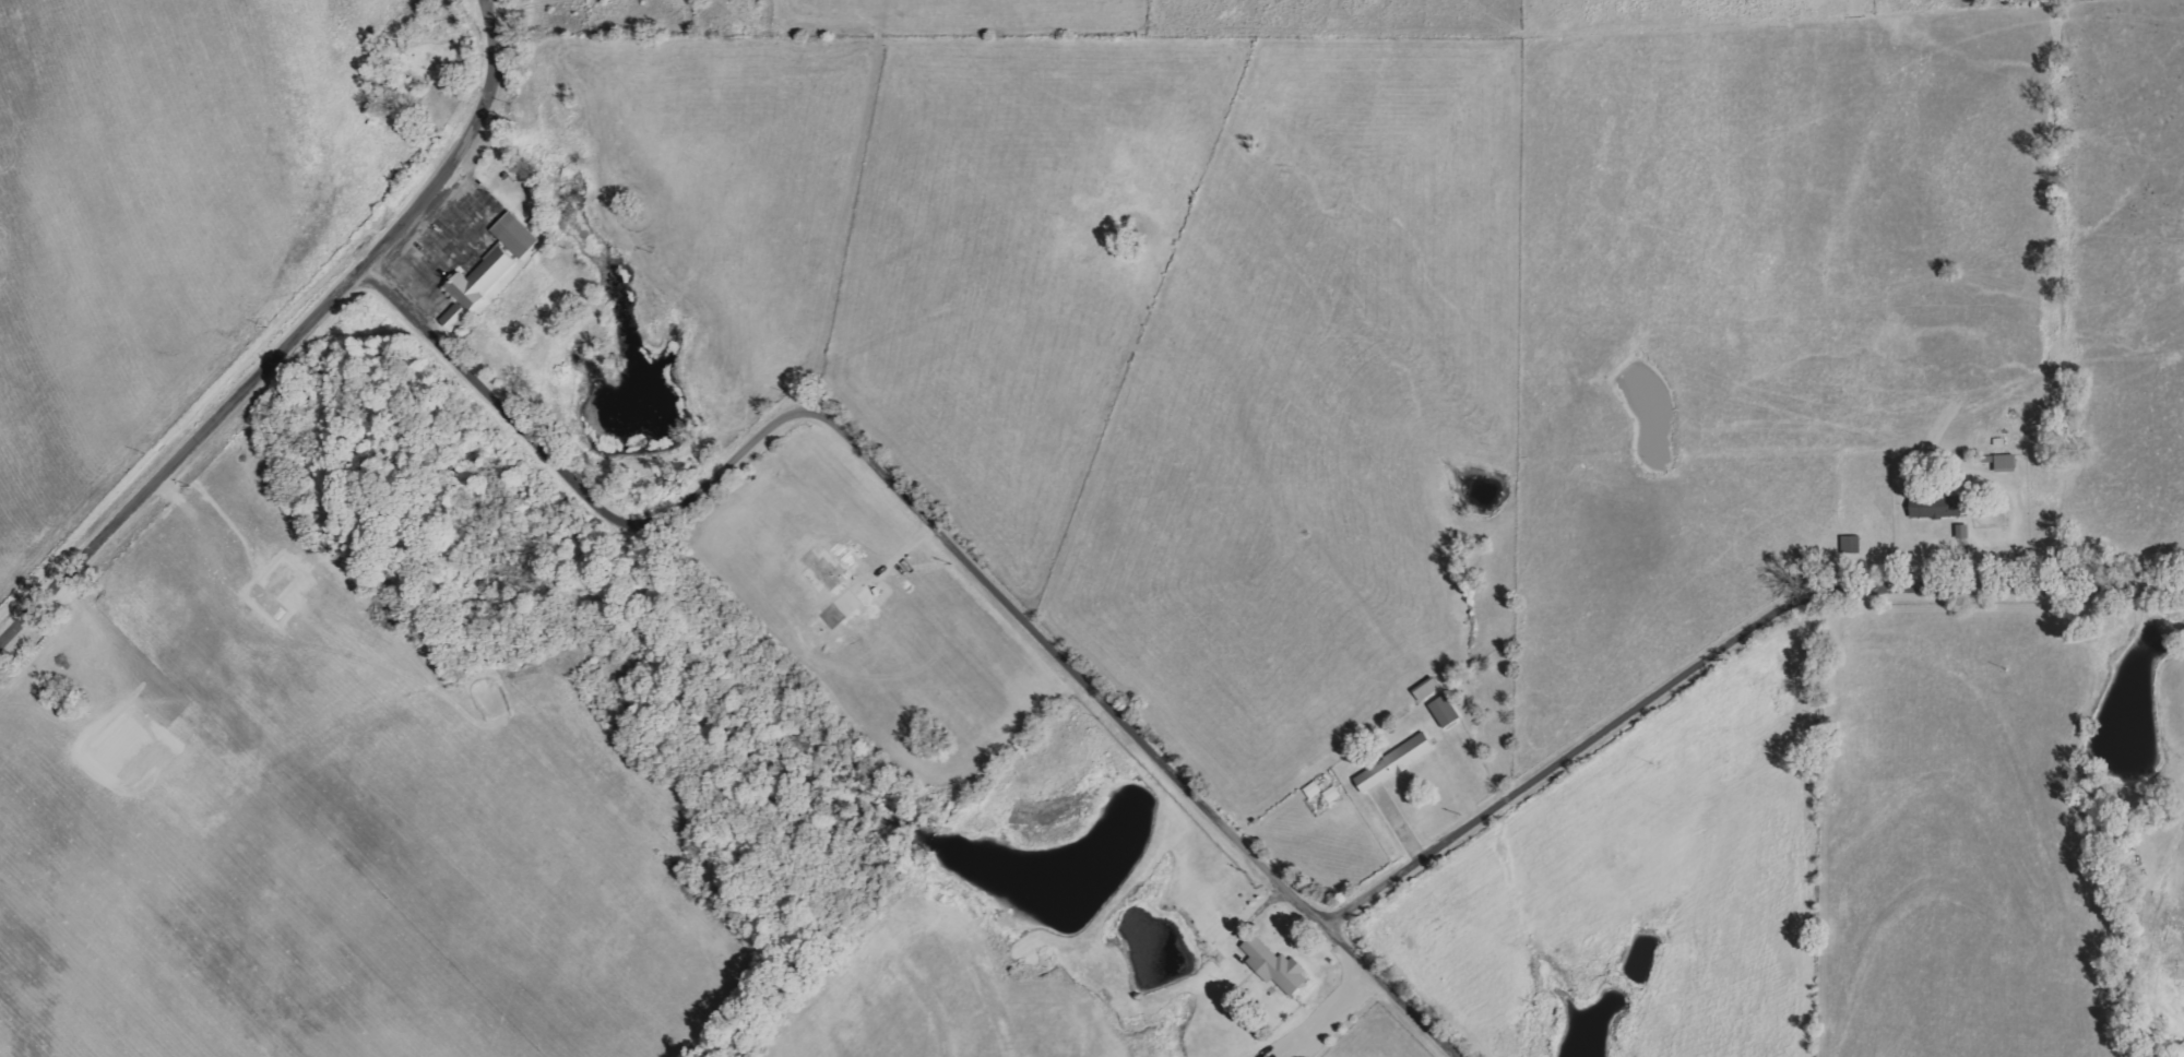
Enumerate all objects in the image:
road: (517, 5)
building: (519, 235)
building: (478, 286)
road: (287, 341)
building: (2008, 461)
building: (1942, 506)
road: (931, 515)
road: (1722, 658)
building: (1447, 711)
building: (1398, 763)
building: (1279, 966)
building: (1273, 1056)

